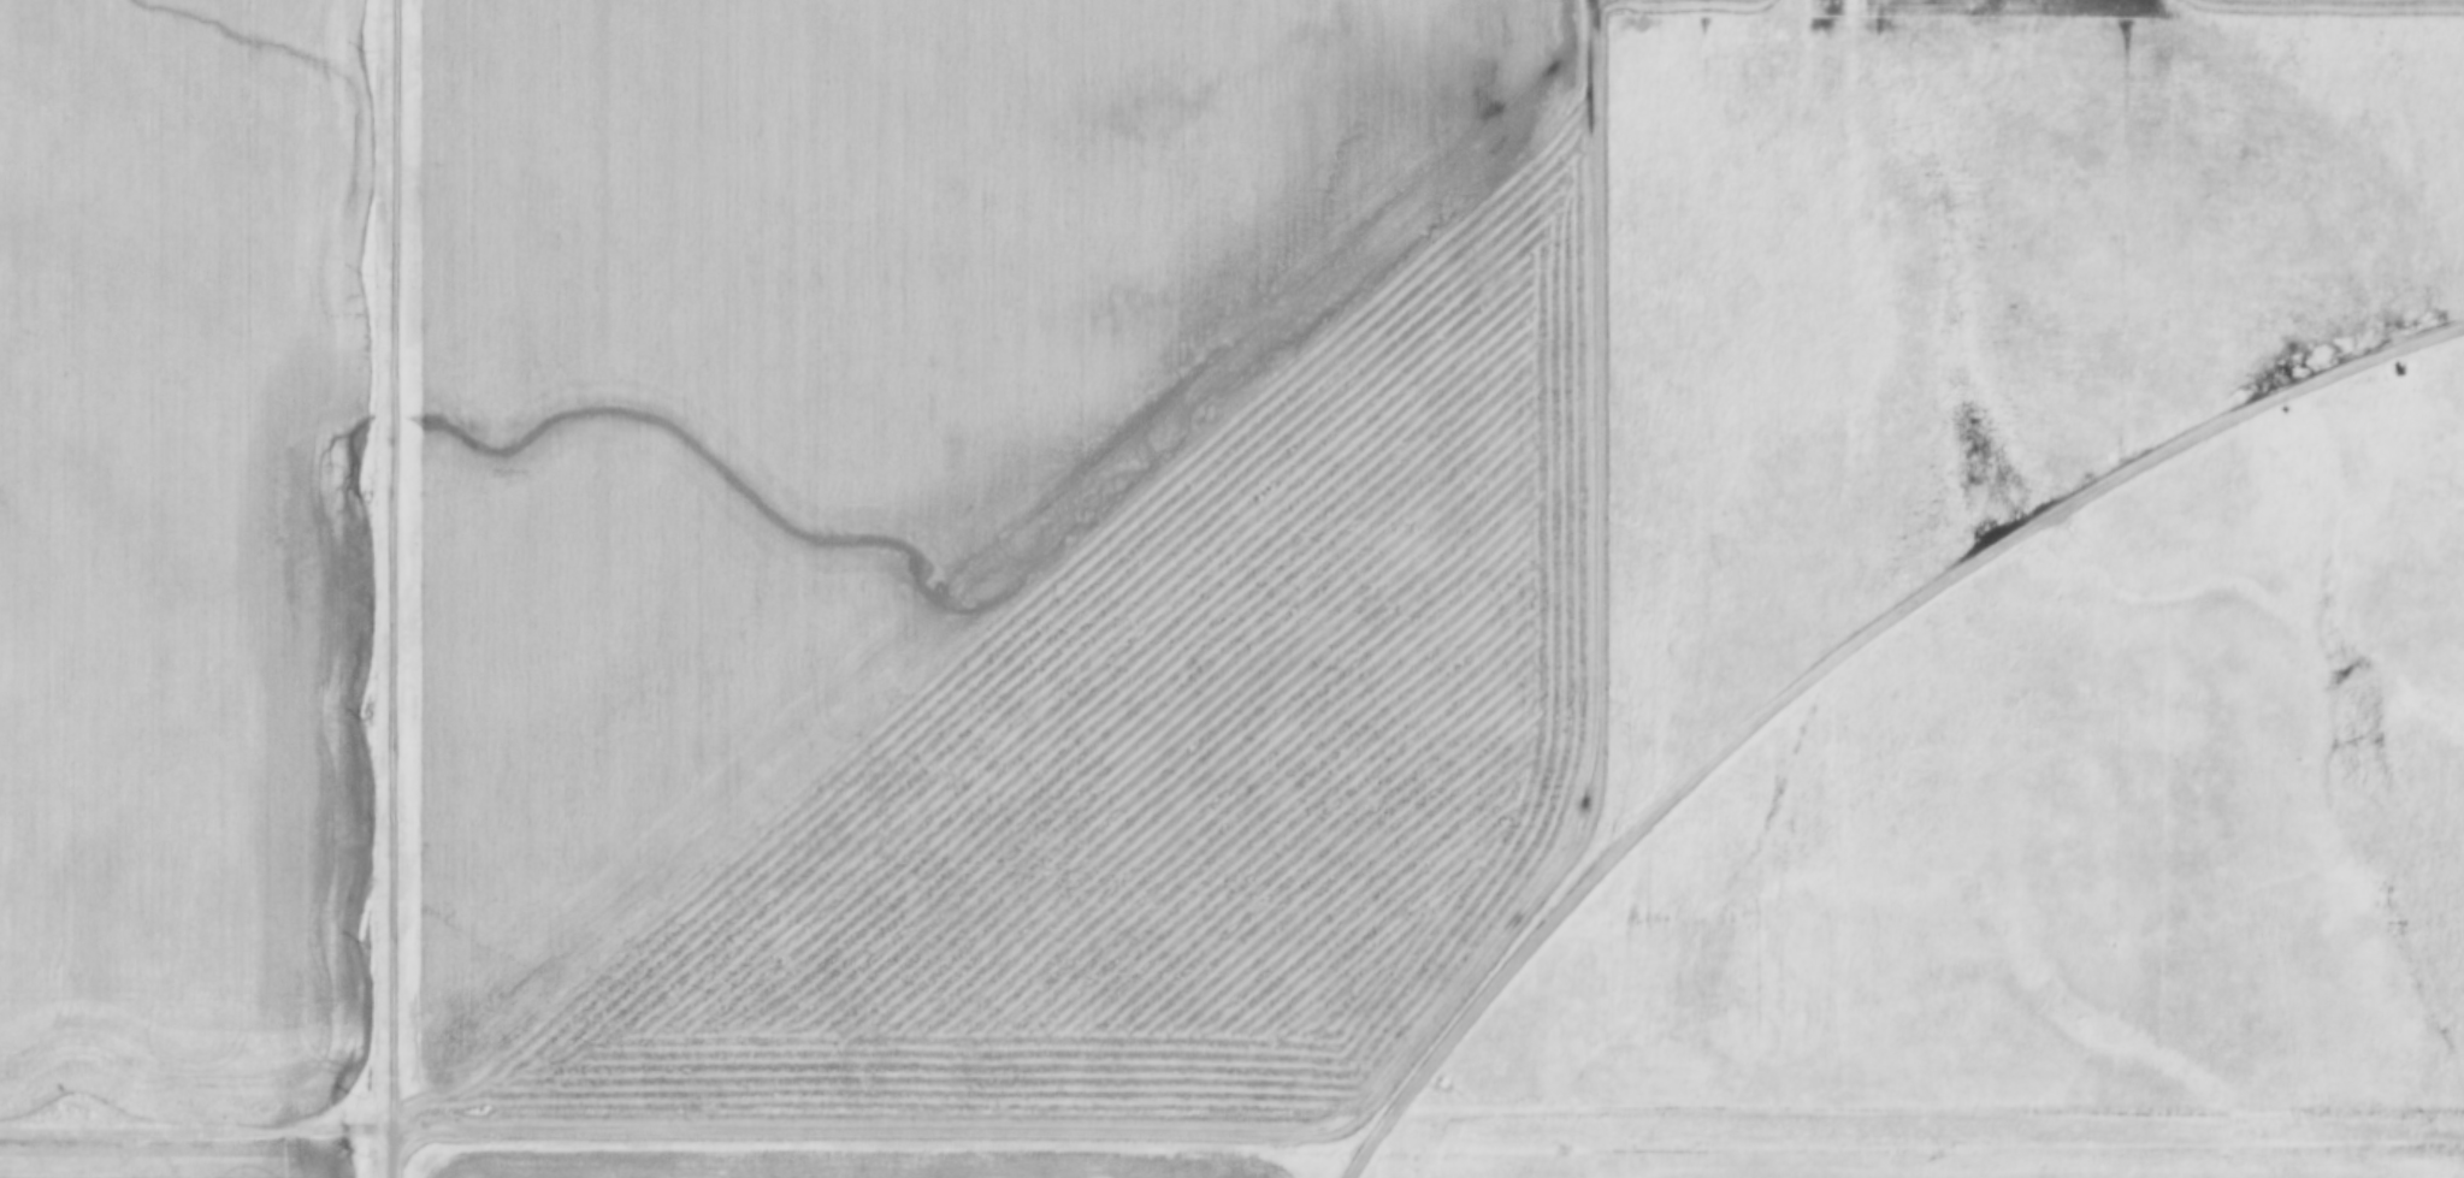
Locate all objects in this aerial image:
road: (389, 564)
road: (1840, 663)
road: (1231, 1129)
road: (394, 1154)

